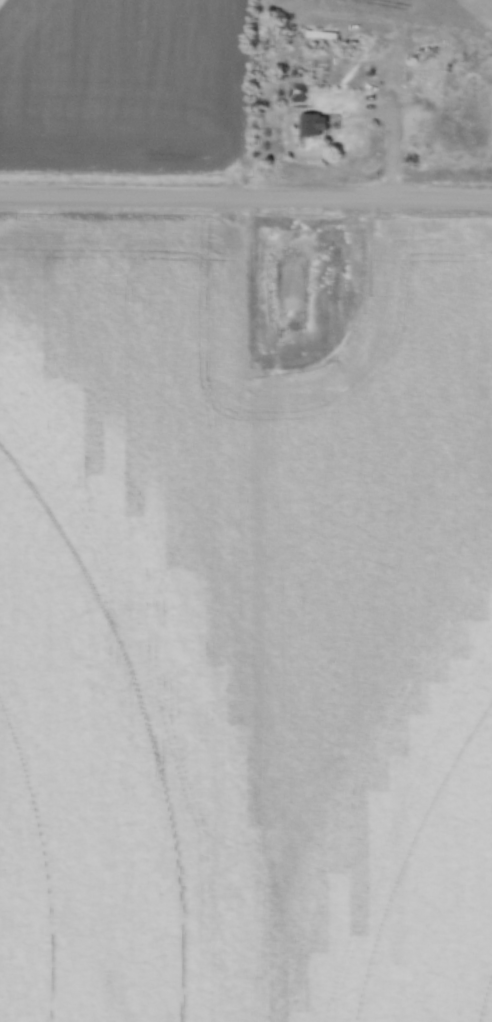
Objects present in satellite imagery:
crop: (412, 10)
building: (421, 69)
crop: (124, 80)
building: (316, 124)
road: (394, 150)
road: (246, 195)
crop: (244, 645)

